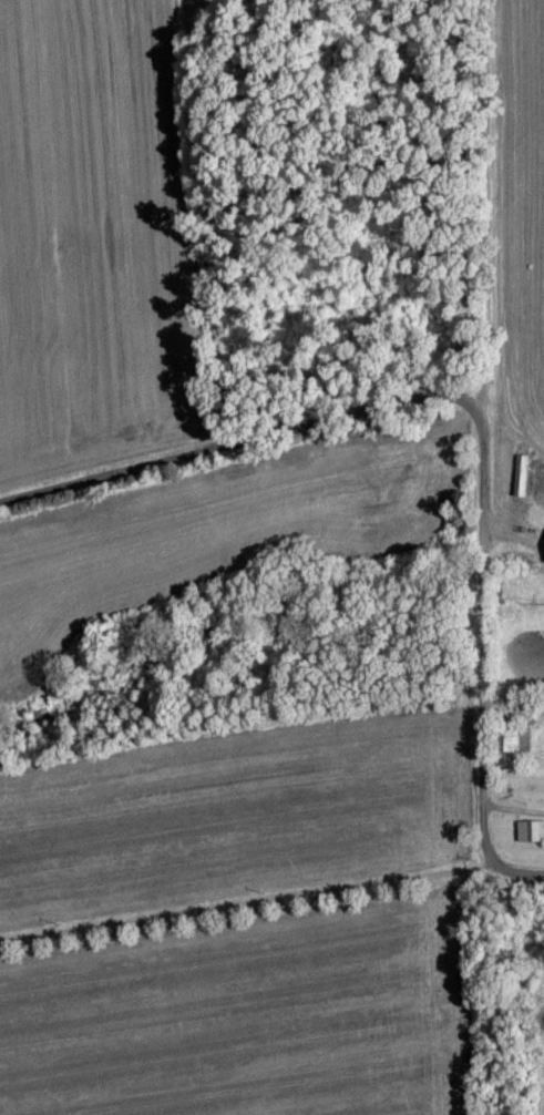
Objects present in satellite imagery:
road: (465, 401)
building: (524, 830)
road: (512, 876)
road: (239, 910)

